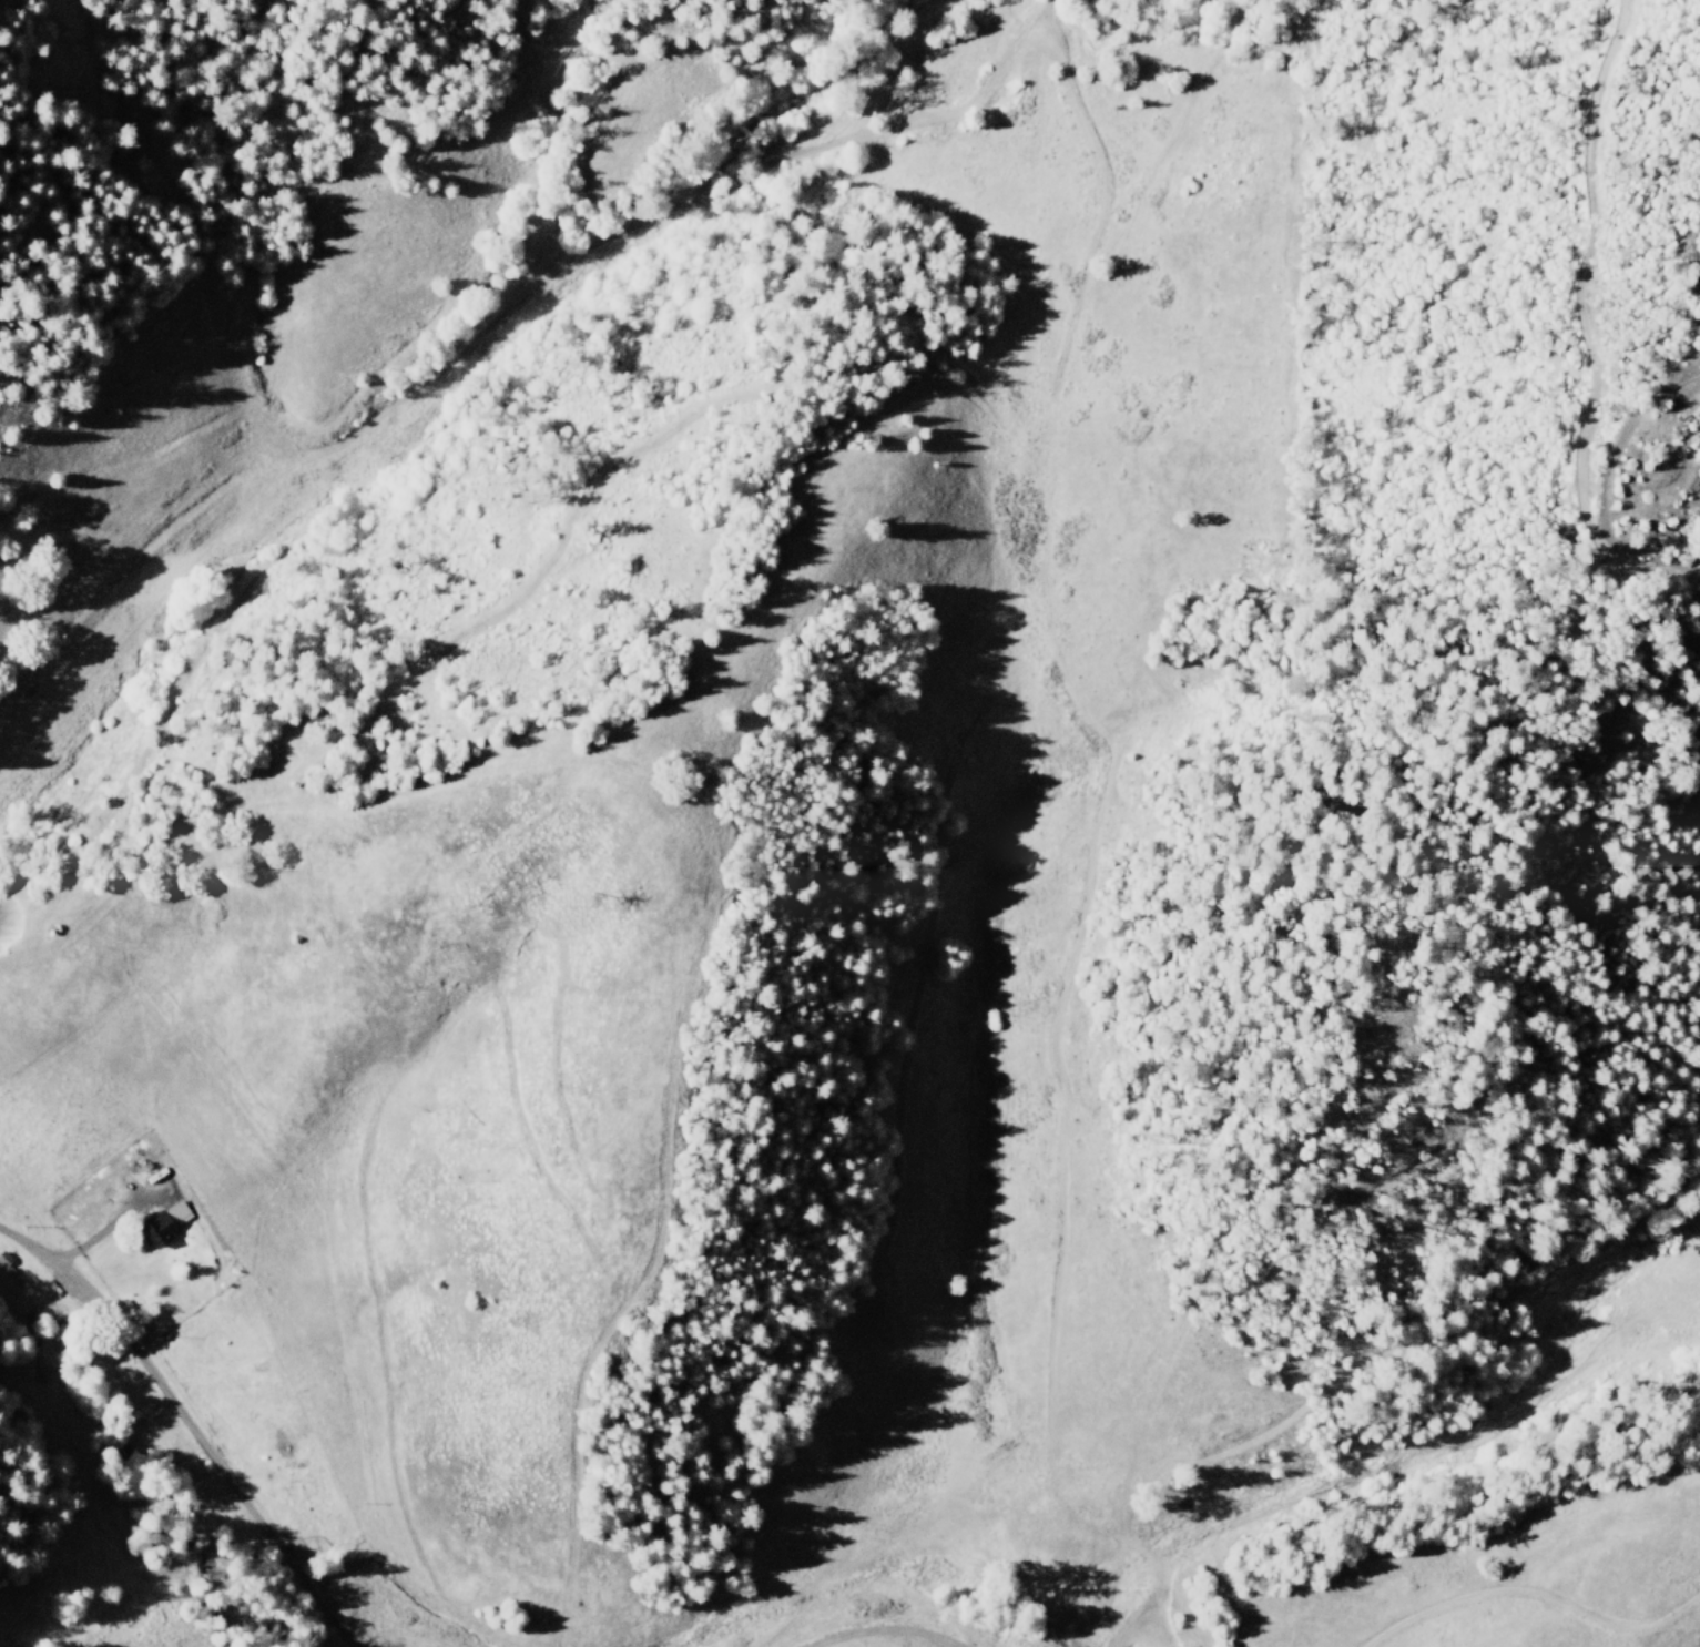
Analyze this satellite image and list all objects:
building: (163, 1223)
road: (191, 1425)

